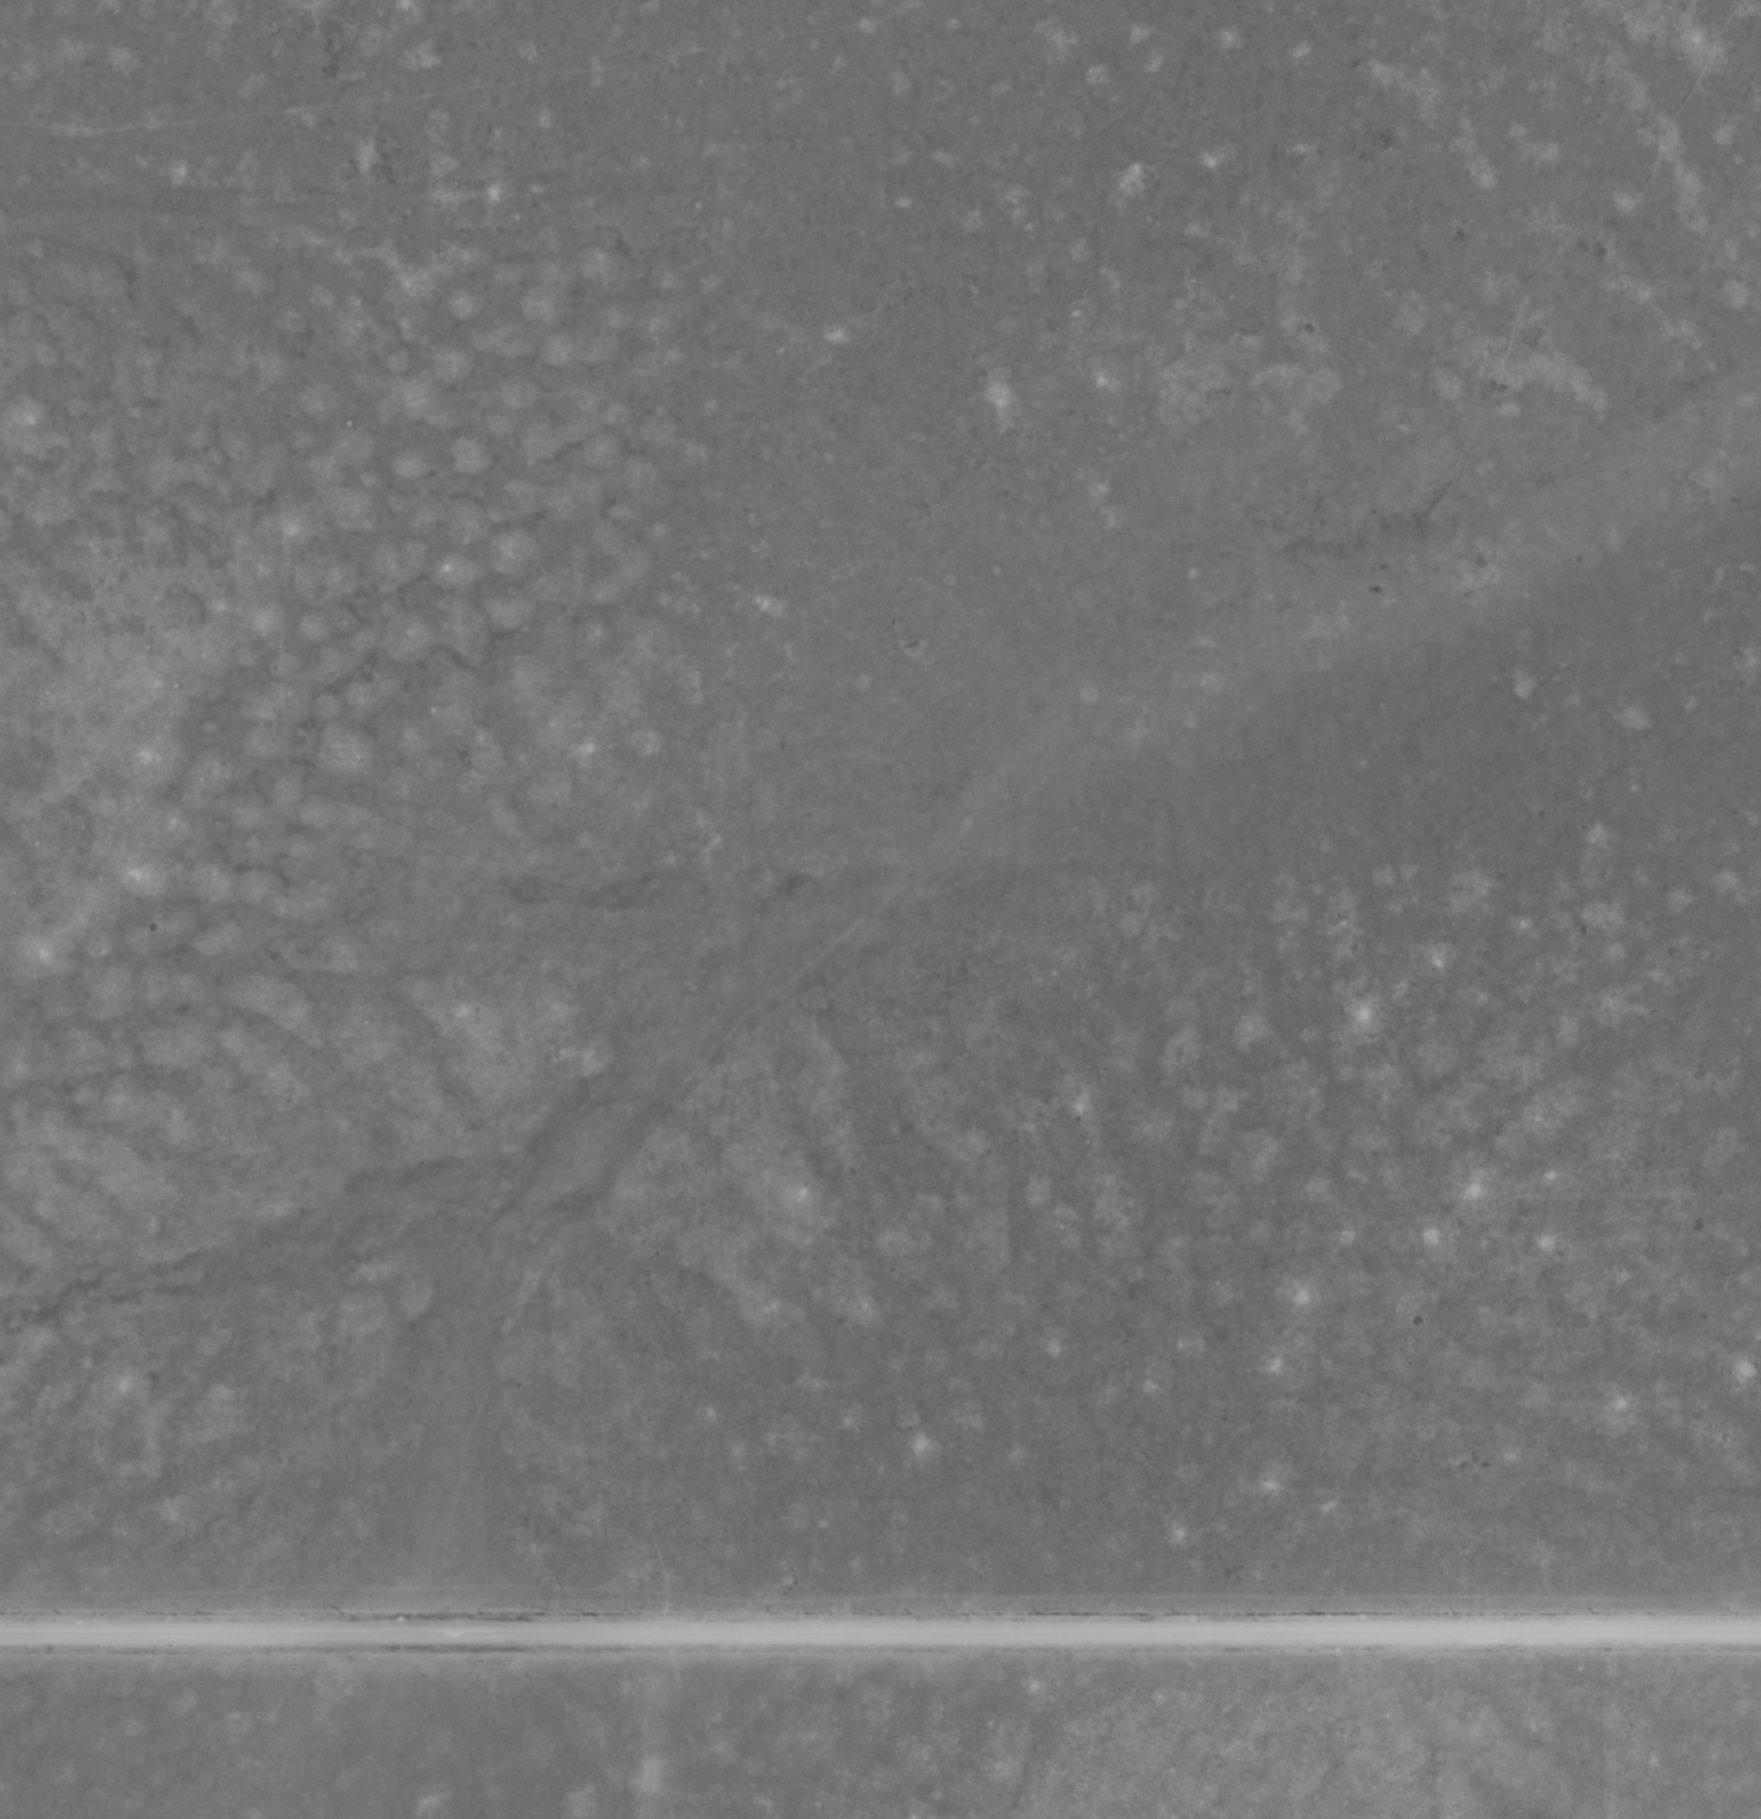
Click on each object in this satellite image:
road: (880, 1616)

